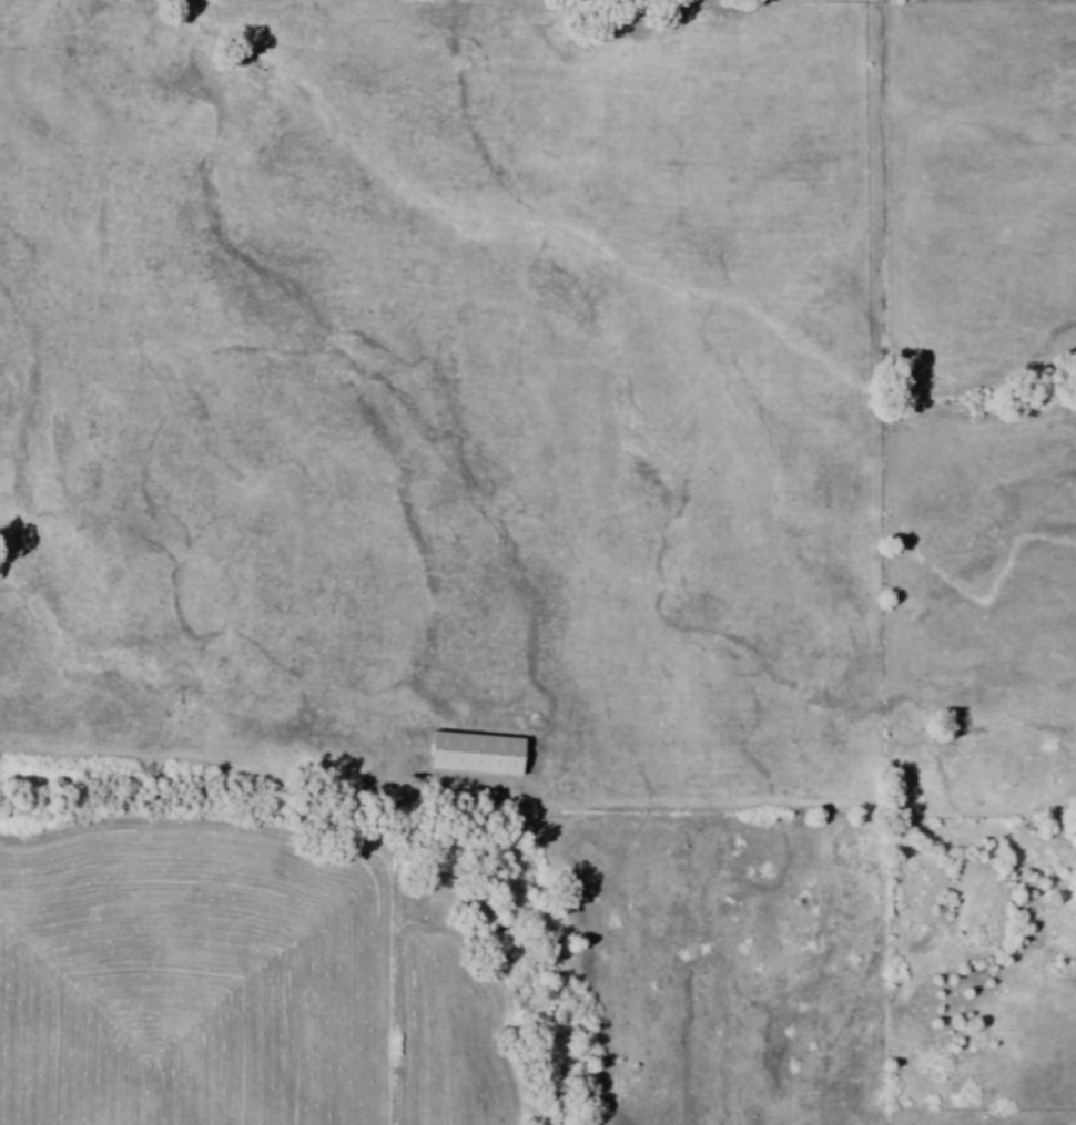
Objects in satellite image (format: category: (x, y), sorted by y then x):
building: (466, 753)

